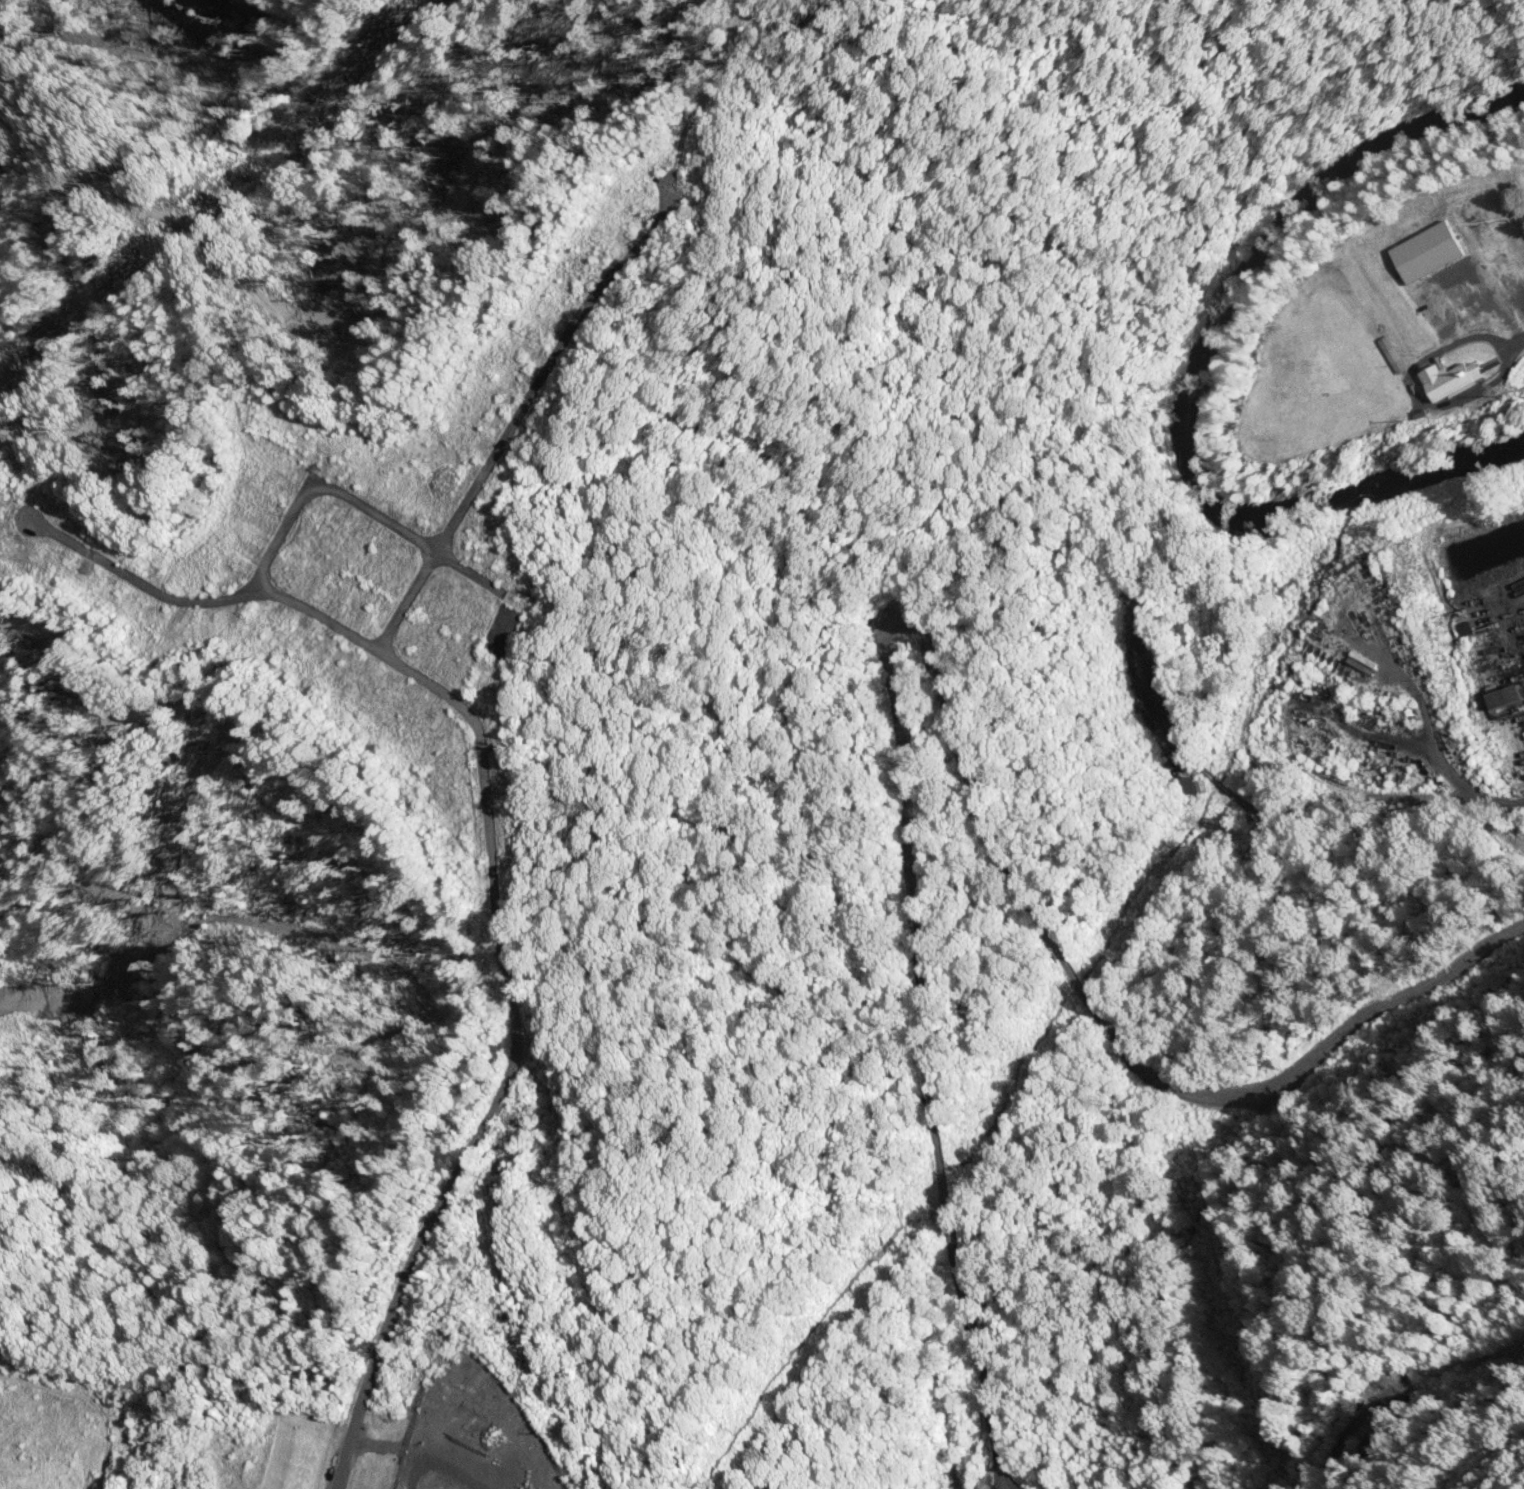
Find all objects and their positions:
building: (1448, 366)
building: (1443, 380)
river: (1190, 381)
road: (1407, 518)
road: (1423, 657)
building: (1502, 696)
building: (435, 750)
road: (1423, 761)
building: (498, 773)
building: (1191, 786)
road: (1409, 844)

